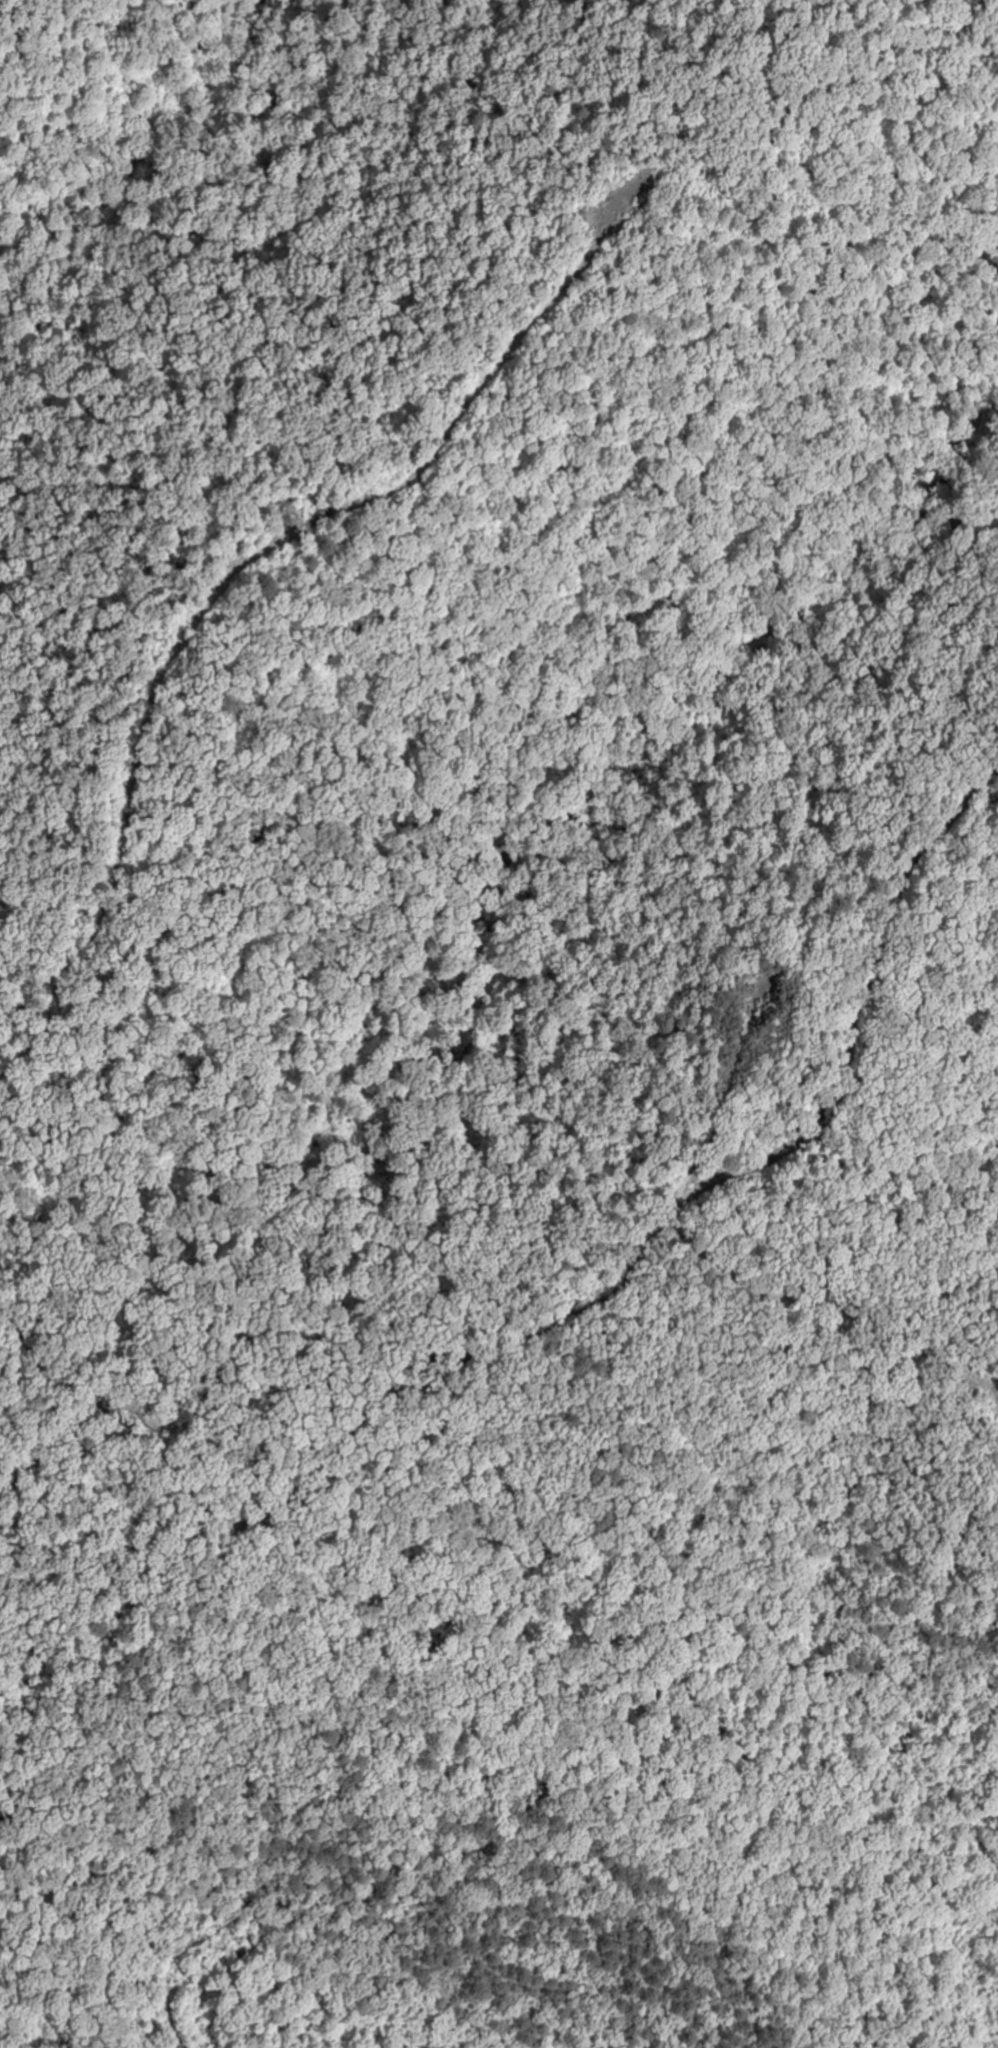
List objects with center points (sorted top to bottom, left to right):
road: (558, 1309)

